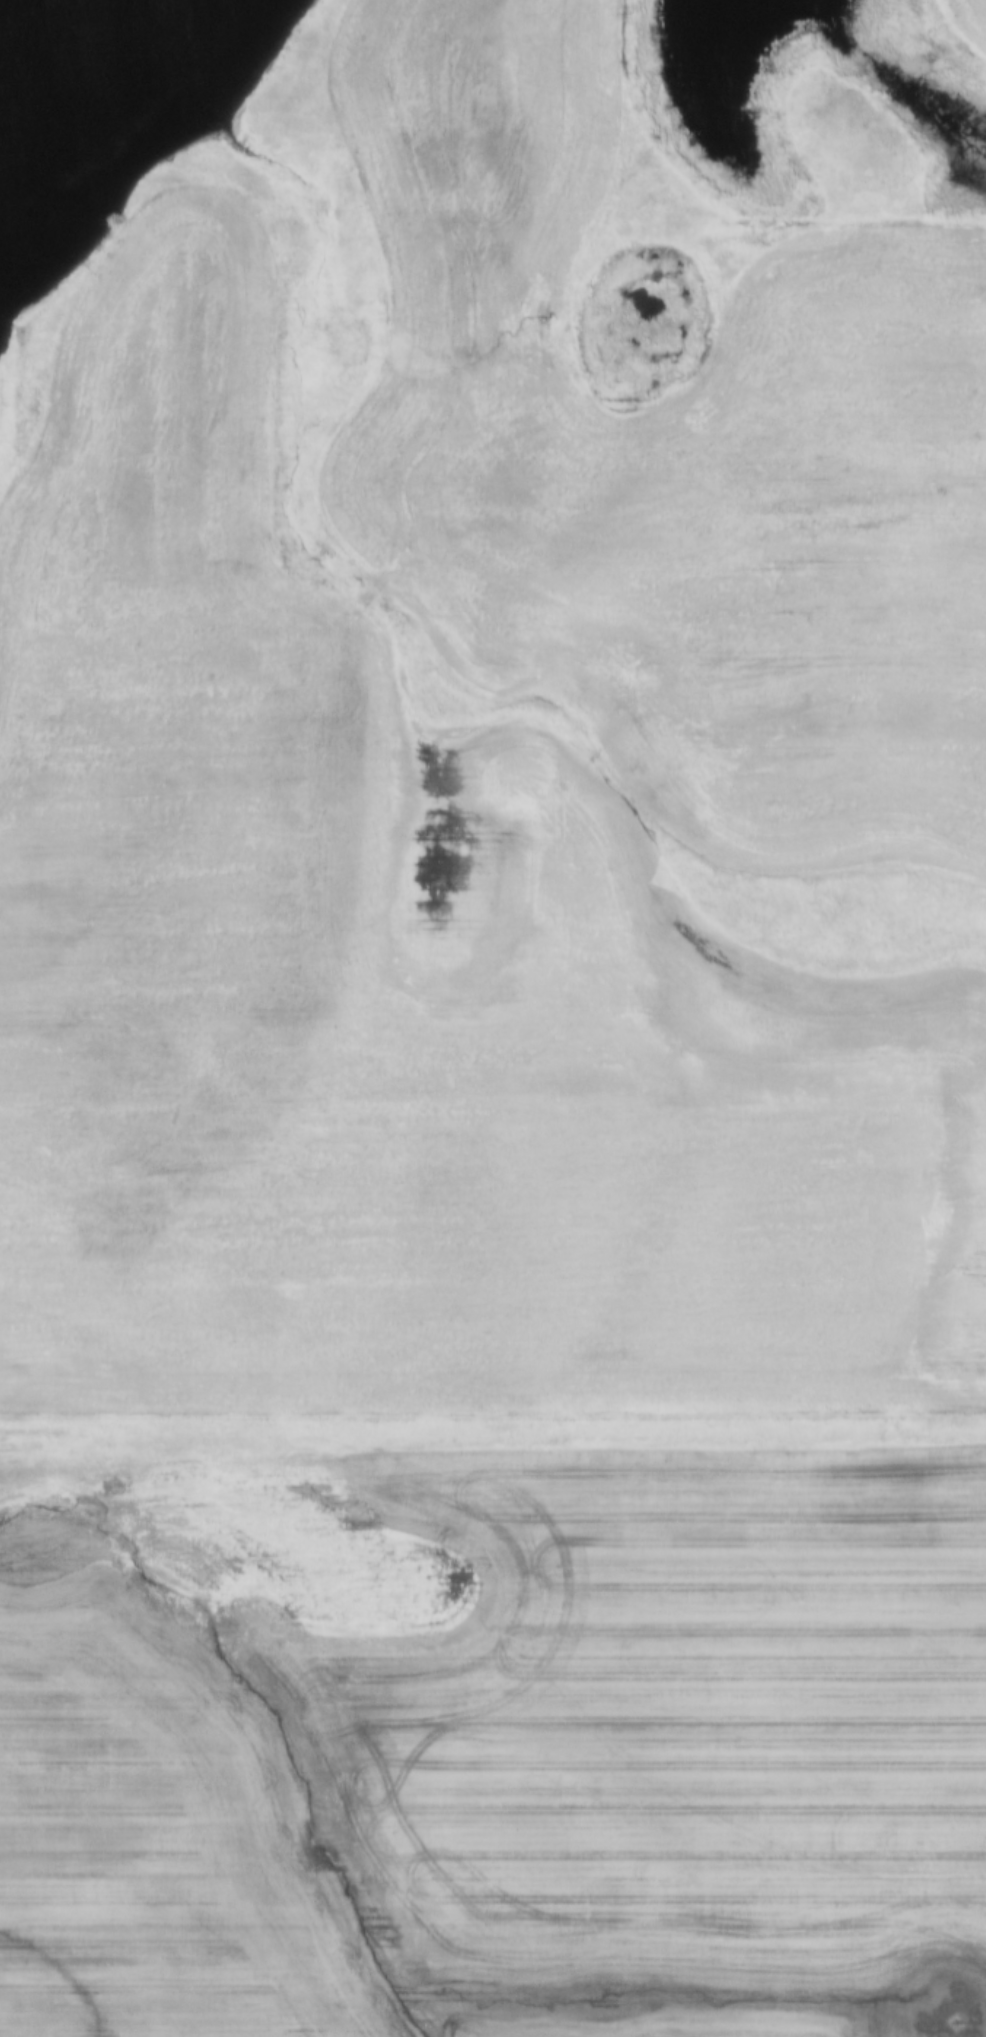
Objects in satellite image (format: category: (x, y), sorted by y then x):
road: (798, 146)
road: (493, 1449)

